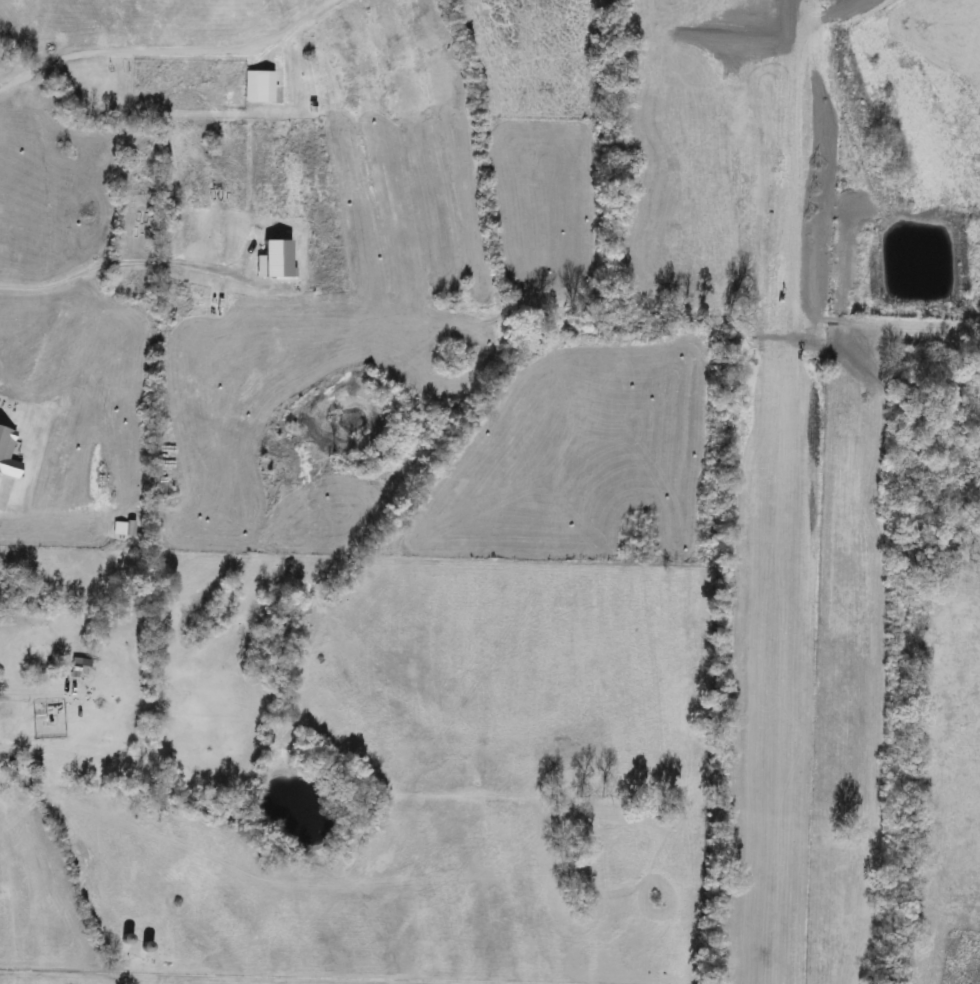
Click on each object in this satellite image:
building: (256, 87)
road: (121, 260)
building: (6, 454)
airport runway: (785, 498)
building: (121, 528)
building: (75, 668)
road: (59, 822)

